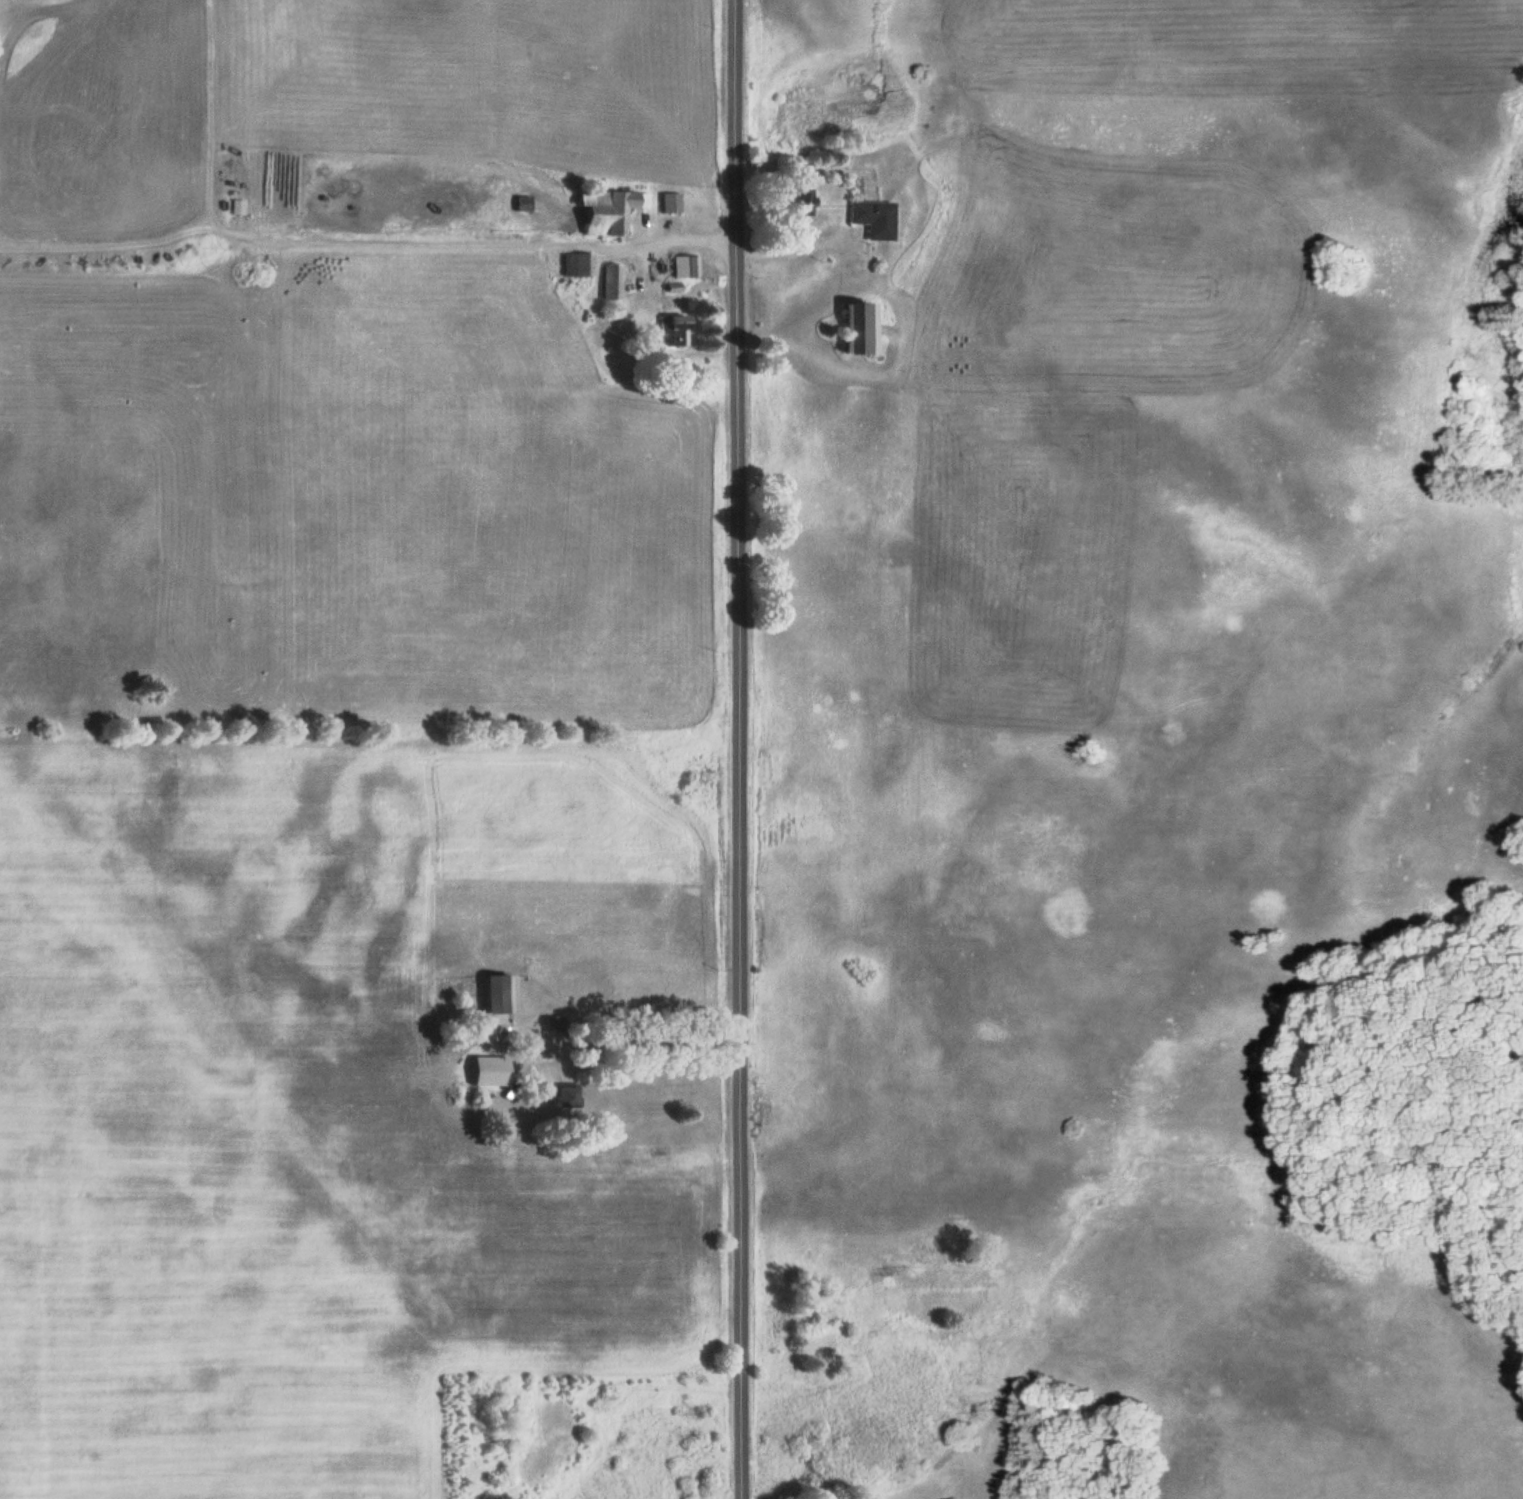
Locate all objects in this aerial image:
building: (794, 203)
building: (520, 204)
building: (668, 204)
building: (235, 208)
building: (604, 212)
building: (870, 219)
building: (574, 266)
building: (683, 268)
building: (609, 283)
building: (669, 331)
building: (854, 331)
road: (735, 749)
building: (493, 994)

